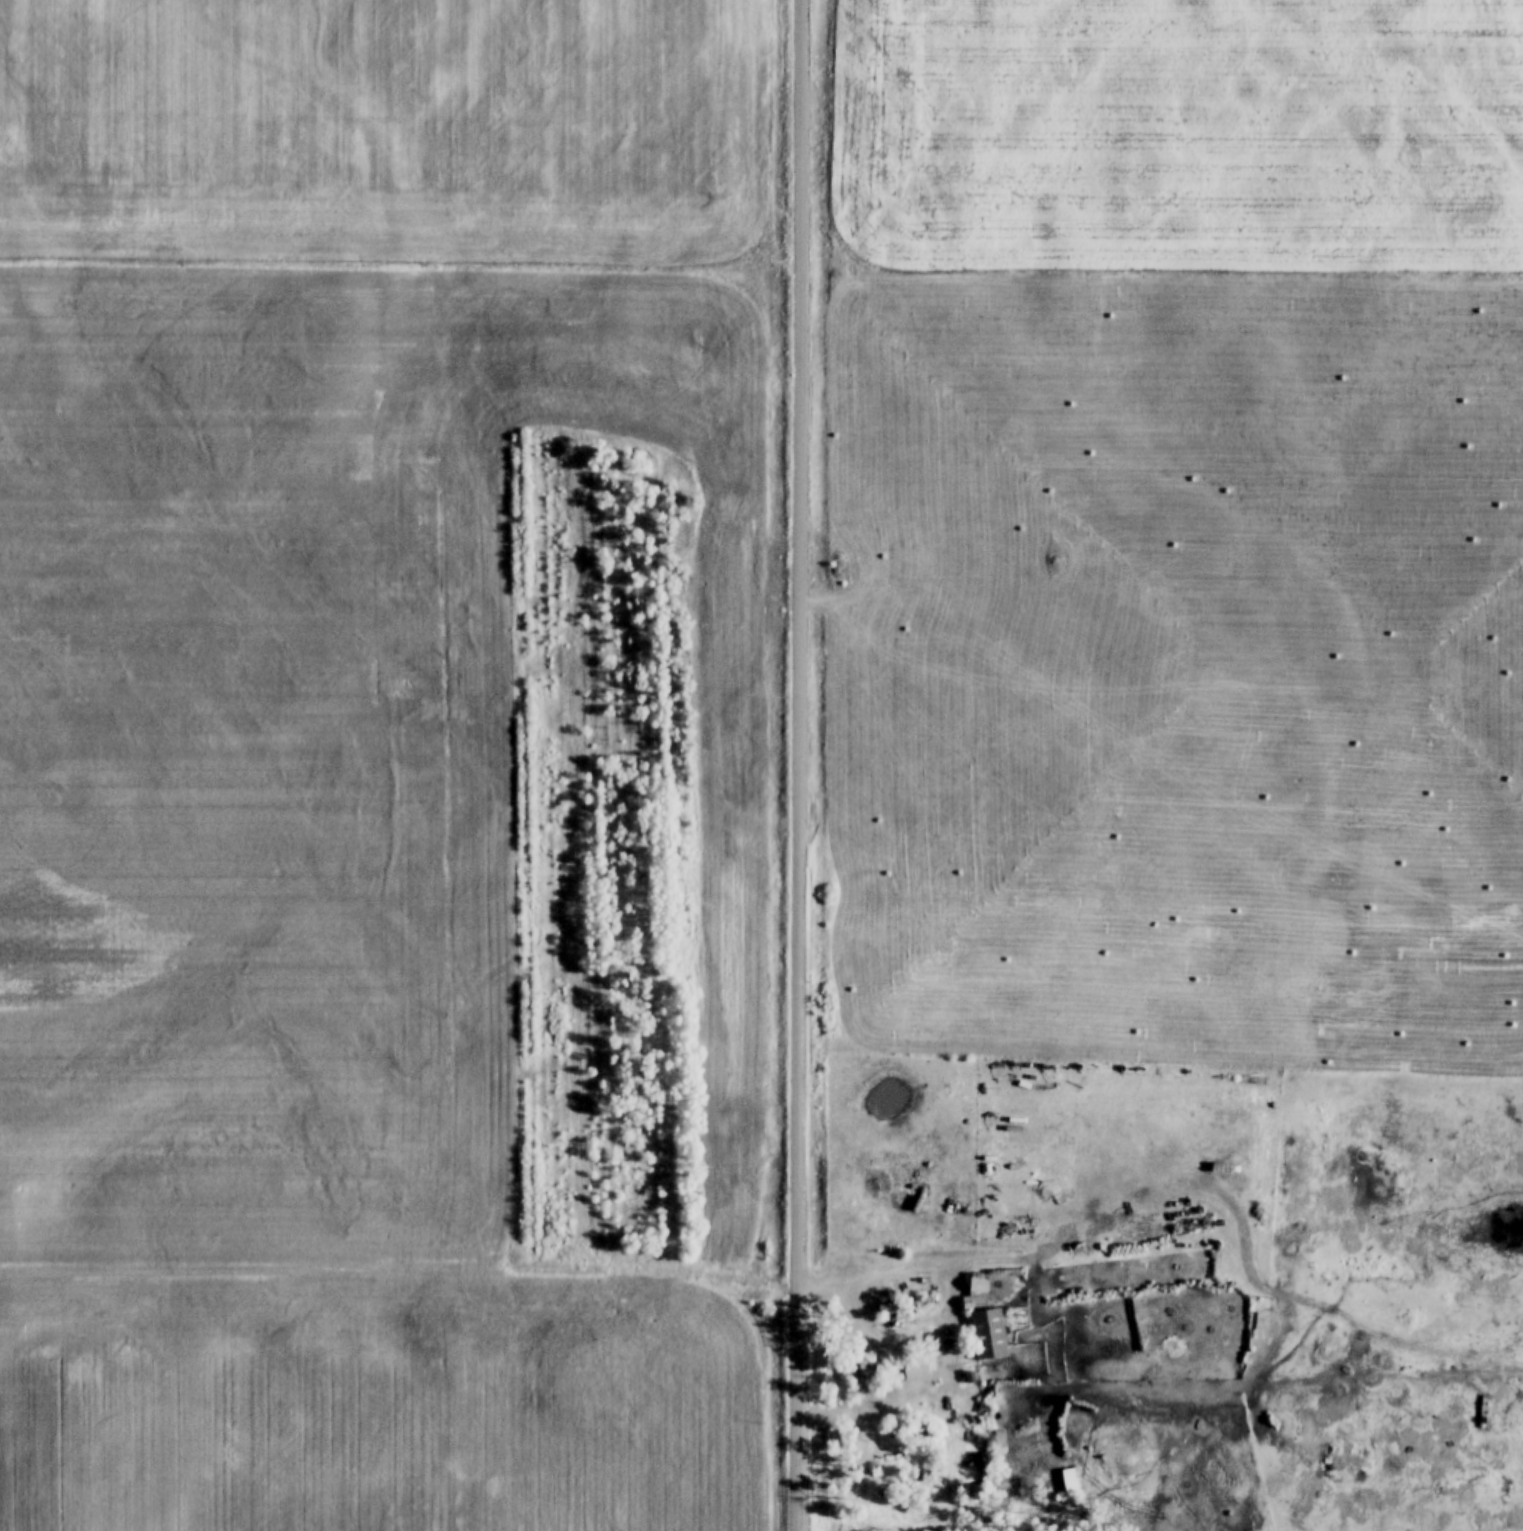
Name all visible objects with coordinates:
road: (798, 765)
road: (397, 1265)
road: (945, 1267)
building: (979, 1284)
building: (989, 1334)
building: (866, 1373)
building: (1431, 1381)
road: (1200, 1384)

